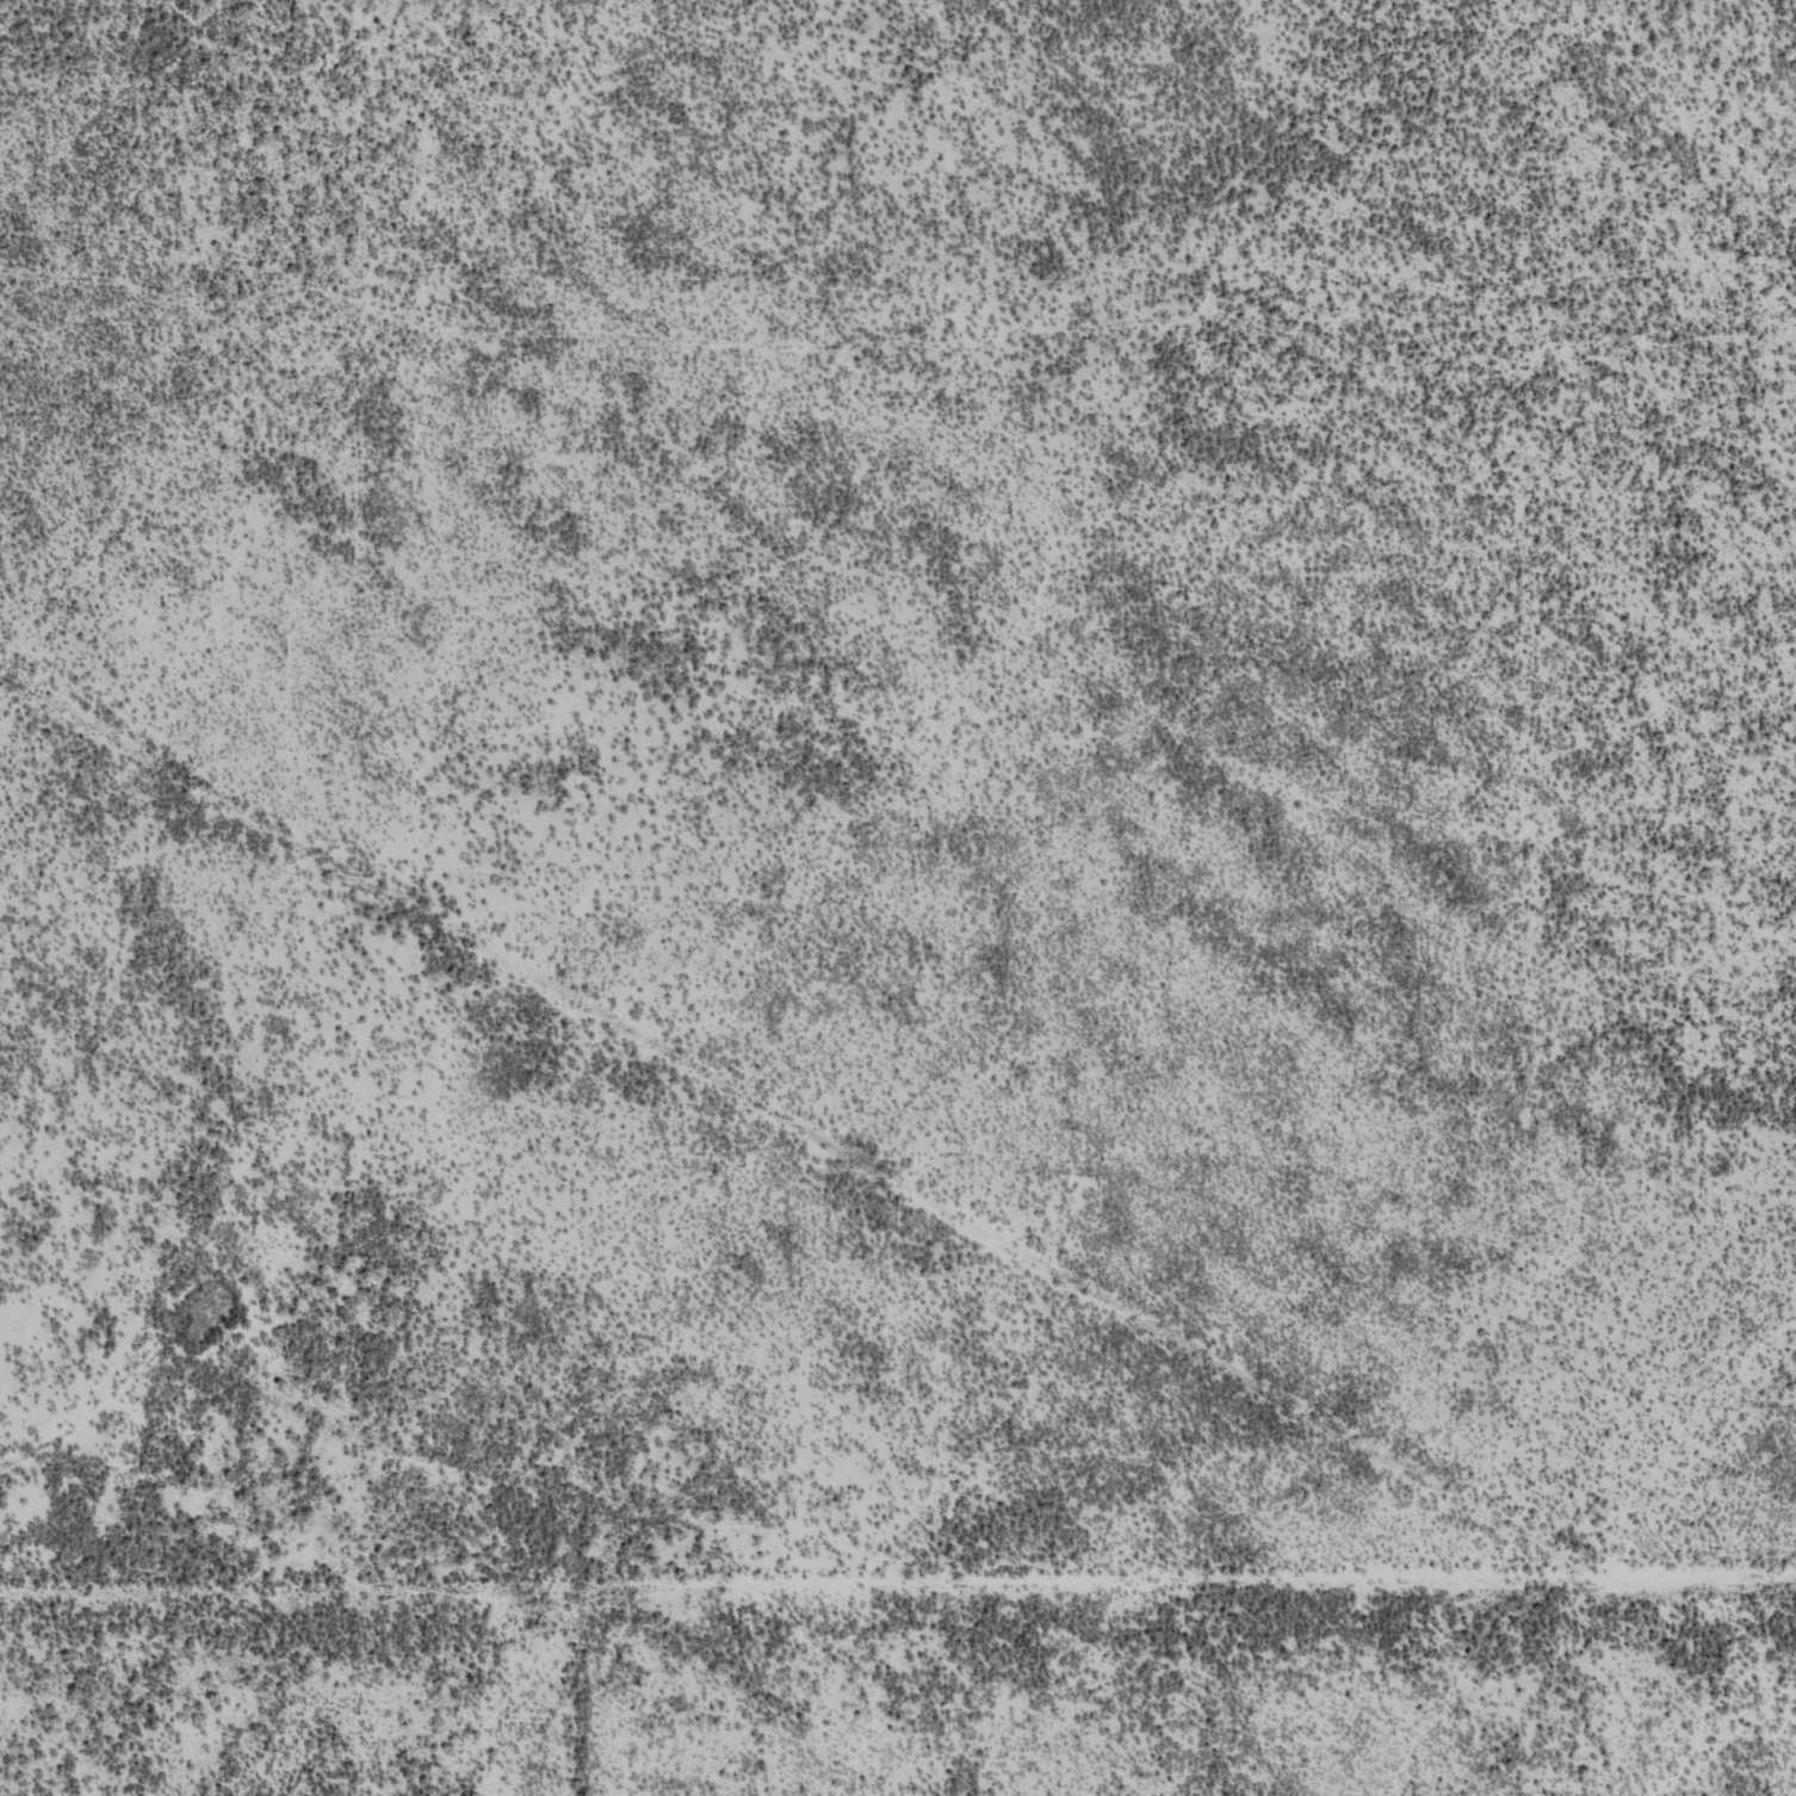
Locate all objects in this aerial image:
road: (571, 1524)

